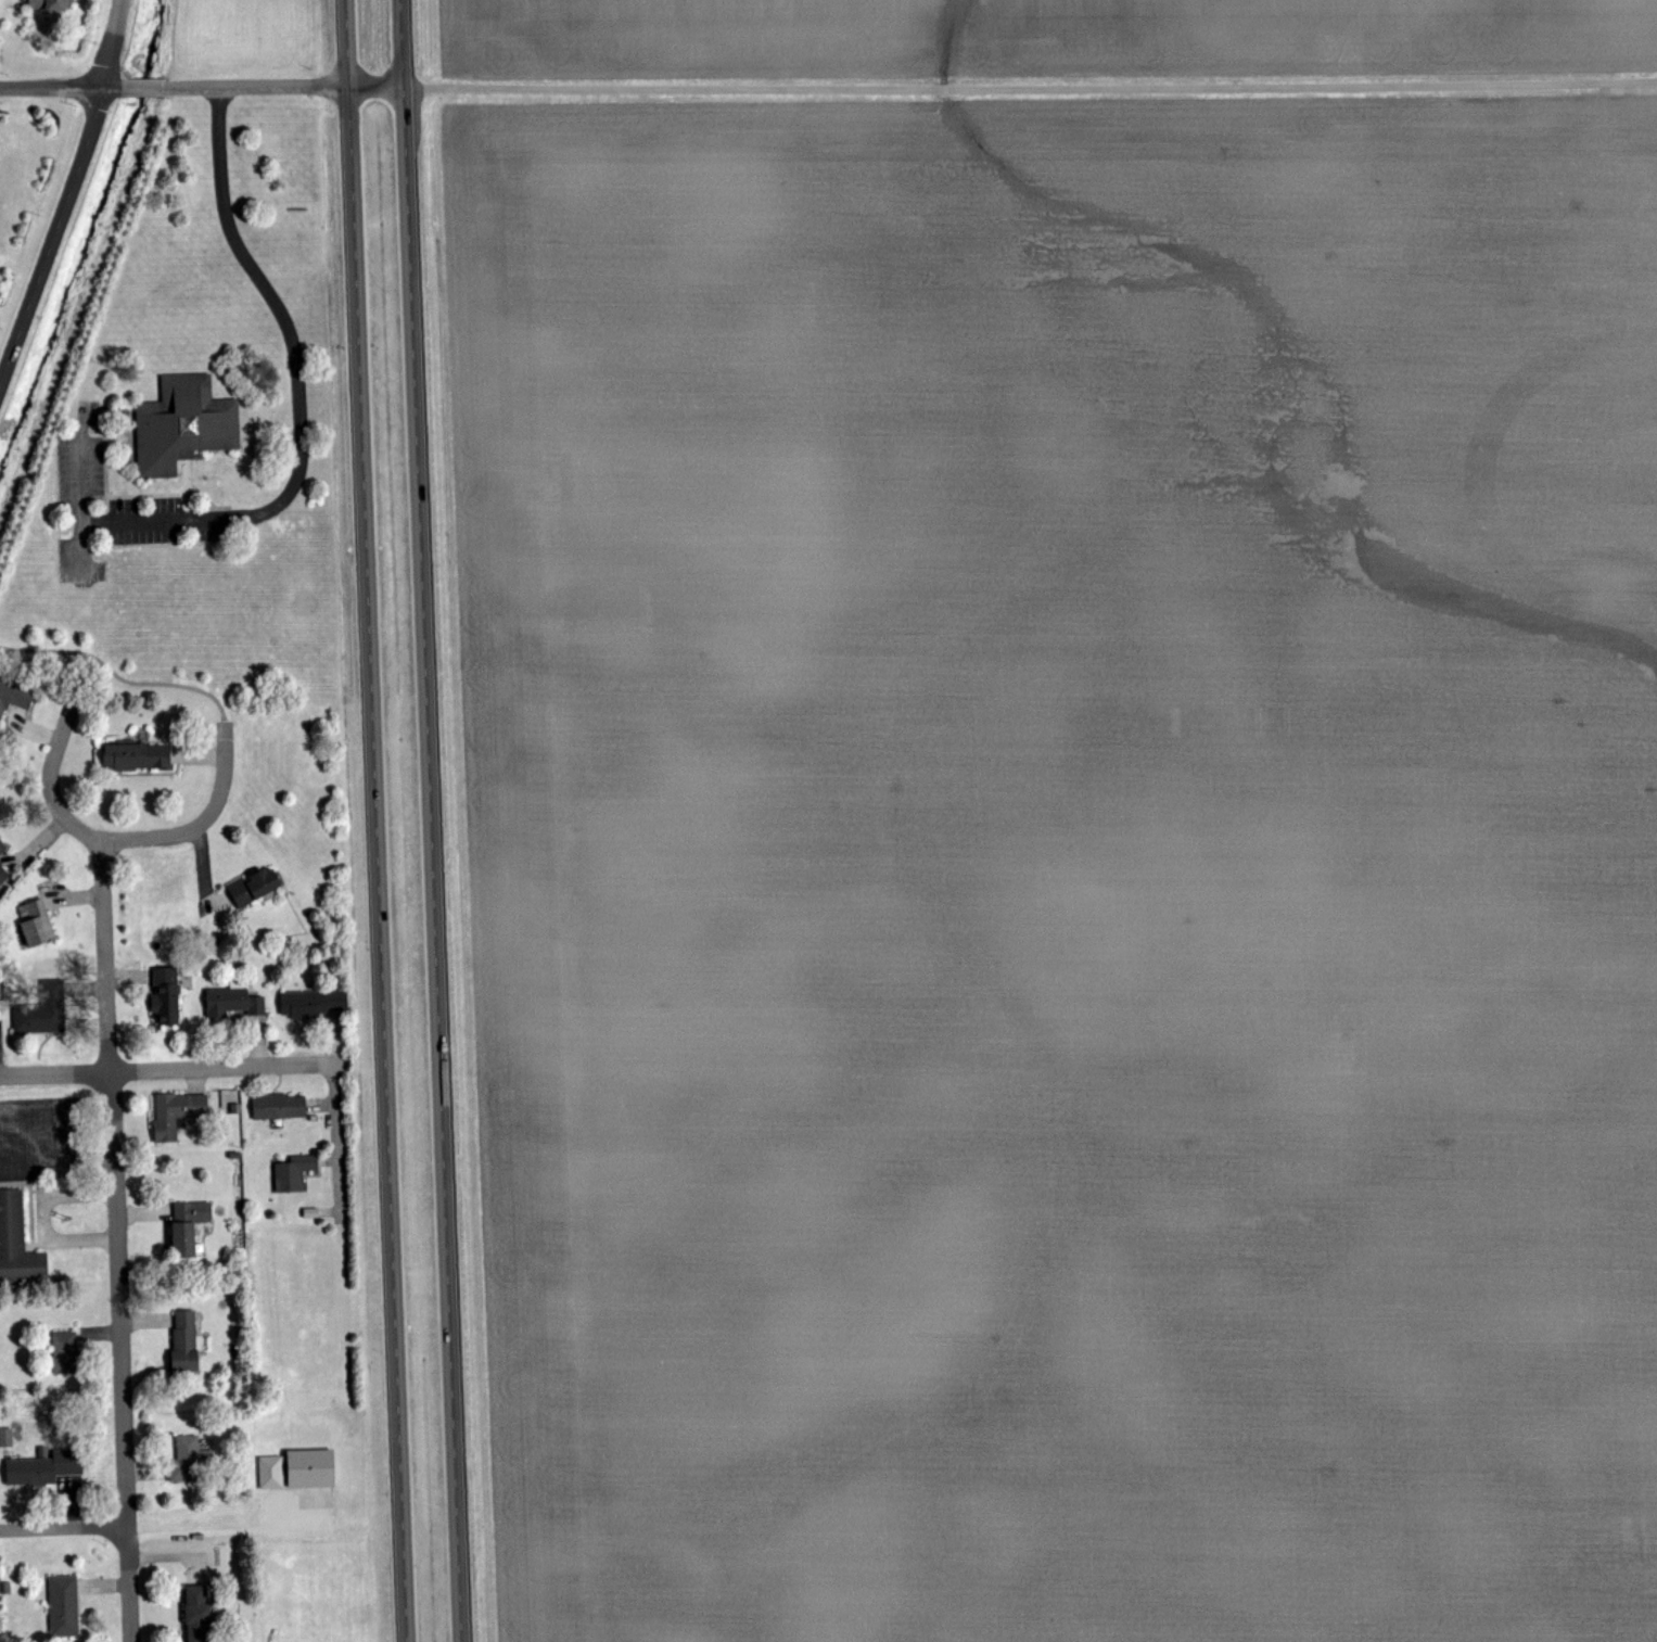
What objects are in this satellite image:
building: (48, 4)
road: (107, 42)
road: (63, 84)
road: (148, 85)
road: (912, 87)
road: (51, 236)
road: (297, 386)
building: (182, 424)
road: (85, 493)
parking lot: (165, 523)
road: (118, 677)
building: (13, 699)
building: (136, 756)
road: (51, 778)
road: (378, 820)
road: (433, 820)
road: (203, 824)
building: (2, 848)
crop: (1063, 865)
building: (3, 875)
building: (255, 886)
building: (36, 922)
building: (166, 995)
building: (233, 1002)
building: (313, 1003)
building: (42, 1010)
road: (165, 1065)
building: (231, 1100)
building: (279, 1107)
building: (177, 1113)
road: (335, 1138)
building: (294, 1173)
building: (188, 1225)
road: (114, 1240)
building: (17, 1243)
building: (184, 1341)
building: (64, 1352)
building: (5, 1437)
building: (188, 1460)
building: (44, 1468)
building: (311, 1468)
building: (270, 1473)
road: (196, 1530)
road: (62, 1531)
building: (64, 1606)
building: (197, 1614)

